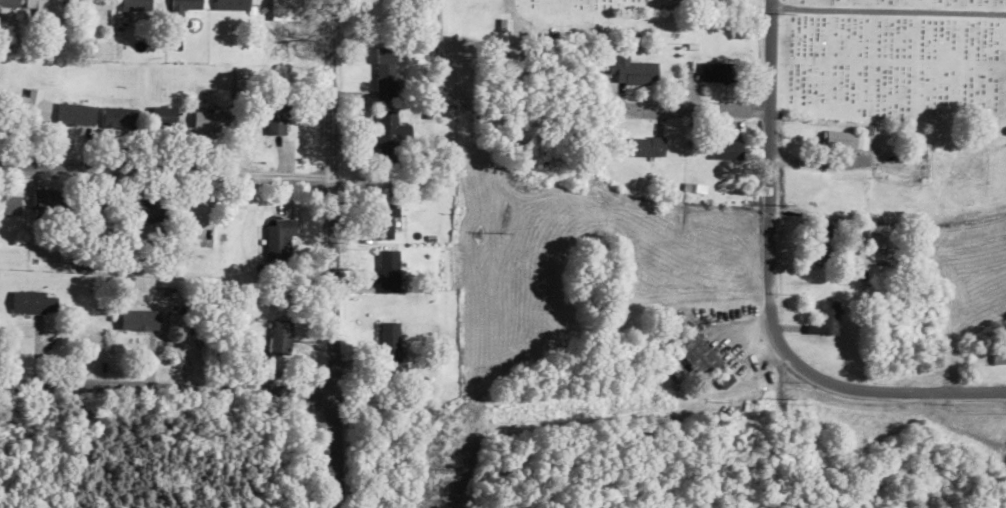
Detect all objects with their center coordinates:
building: (94, 4)
building: (7, 5)
building: (41, 5)
building: (135, 5)
building: (233, 5)
building: (182, 8)
building: (633, 70)
building: (385, 72)
building: (717, 72)
building: (30, 106)
road: (679, 108)
building: (75, 114)
building: (117, 118)
building: (274, 120)
building: (207, 121)
building: (389, 133)
building: (842, 140)
building: (646, 146)
building: (726, 149)
road: (164, 171)
road: (767, 187)
building: (9, 204)
building: (46, 206)
building: (145, 210)
building: (385, 220)
building: (278, 241)
building: (825, 241)
building: (878, 243)
road: (330, 254)
building: (387, 269)
building: (32, 302)
building: (826, 319)
building: (138, 321)
building: (279, 336)
building: (389, 343)
building: (700, 357)
building: (998, 359)
road: (166, 391)
road: (899, 391)

